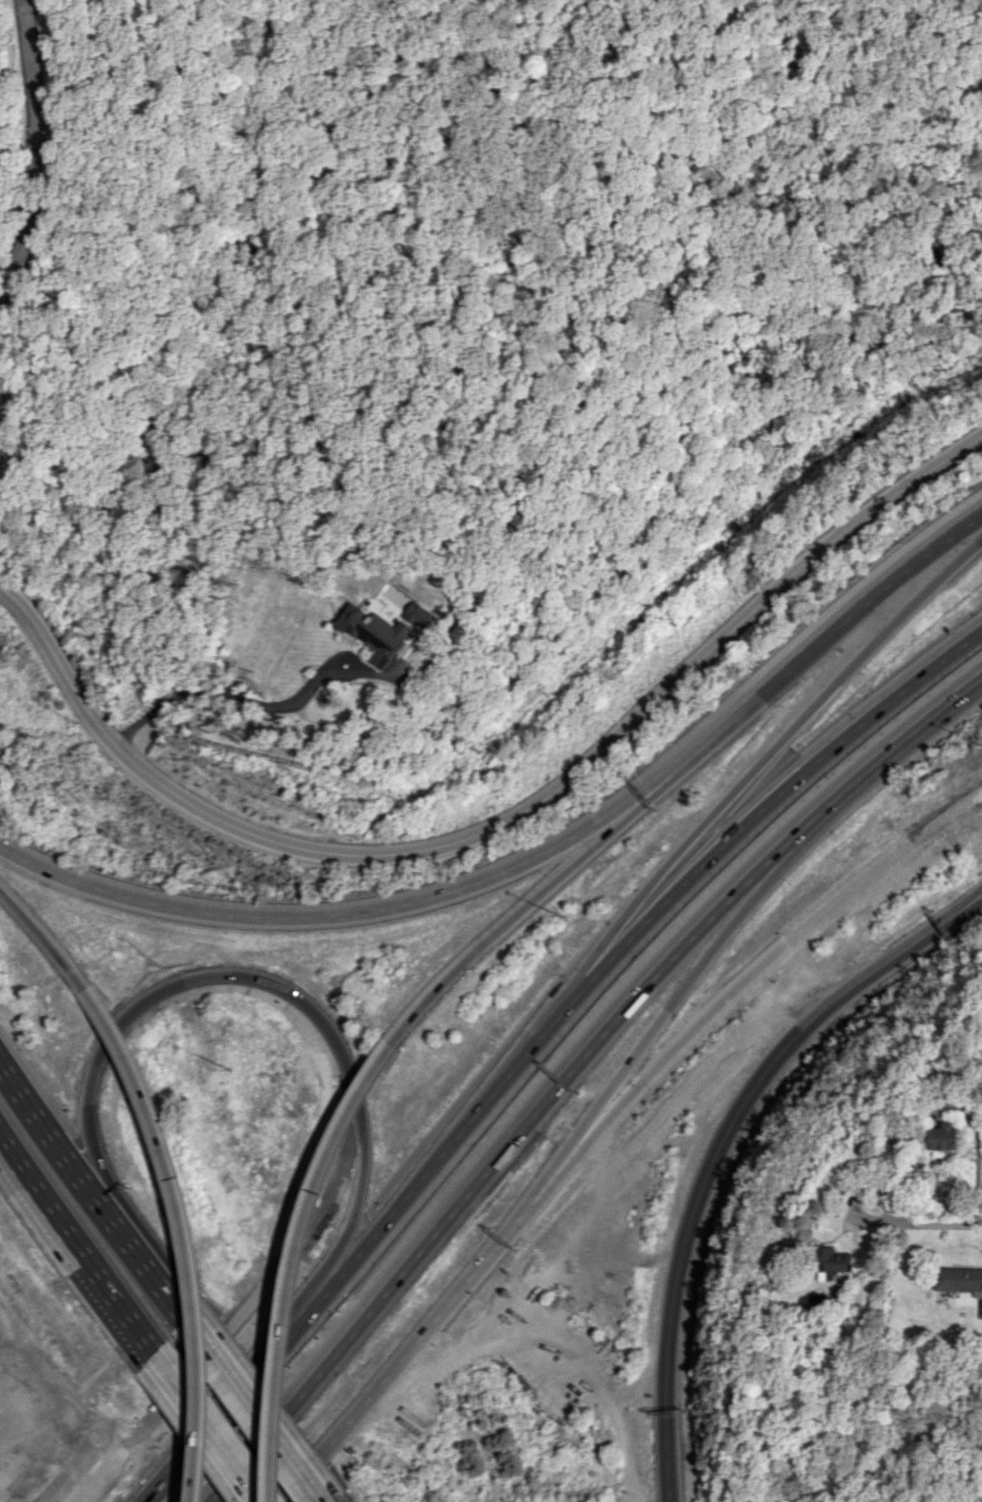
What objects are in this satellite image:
road: (610, 79)
road: (315, 110)
road: (33, 149)
road: (12, 401)
road: (649, 472)
building: (374, 633)
road: (829, 635)
road: (232, 694)
road: (790, 734)
road: (794, 778)
road: (500, 826)
road: (538, 902)
road: (353, 914)
road: (941, 919)
road: (942, 927)
road: (48, 934)
road: (736, 988)
road: (664, 1018)
road: (350, 1061)
road: (571, 1069)
building: (942, 1137)
road: (76, 1161)
road: (695, 1187)
road: (382, 1222)
road: (934, 1226)
road: (190, 1235)
road: (79, 1240)
road: (298, 1261)
building: (830, 1262)
building: (958, 1280)
road: (170, 1292)
road: (401, 1359)
road: (254, 1409)
road: (211, 1427)
road: (176, 1450)

